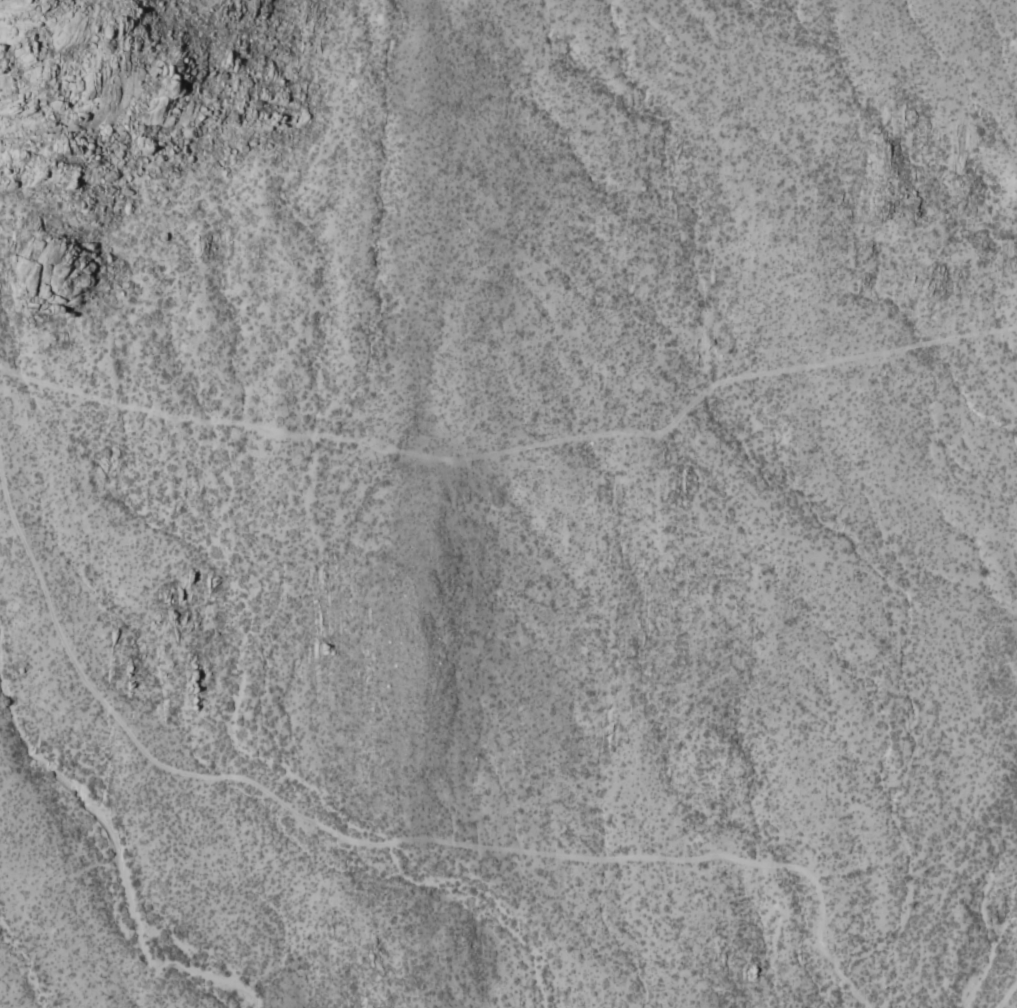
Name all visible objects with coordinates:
road: (514, 448)
road: (383, 842)
road: (842, 870)
road: (1006, 995)

